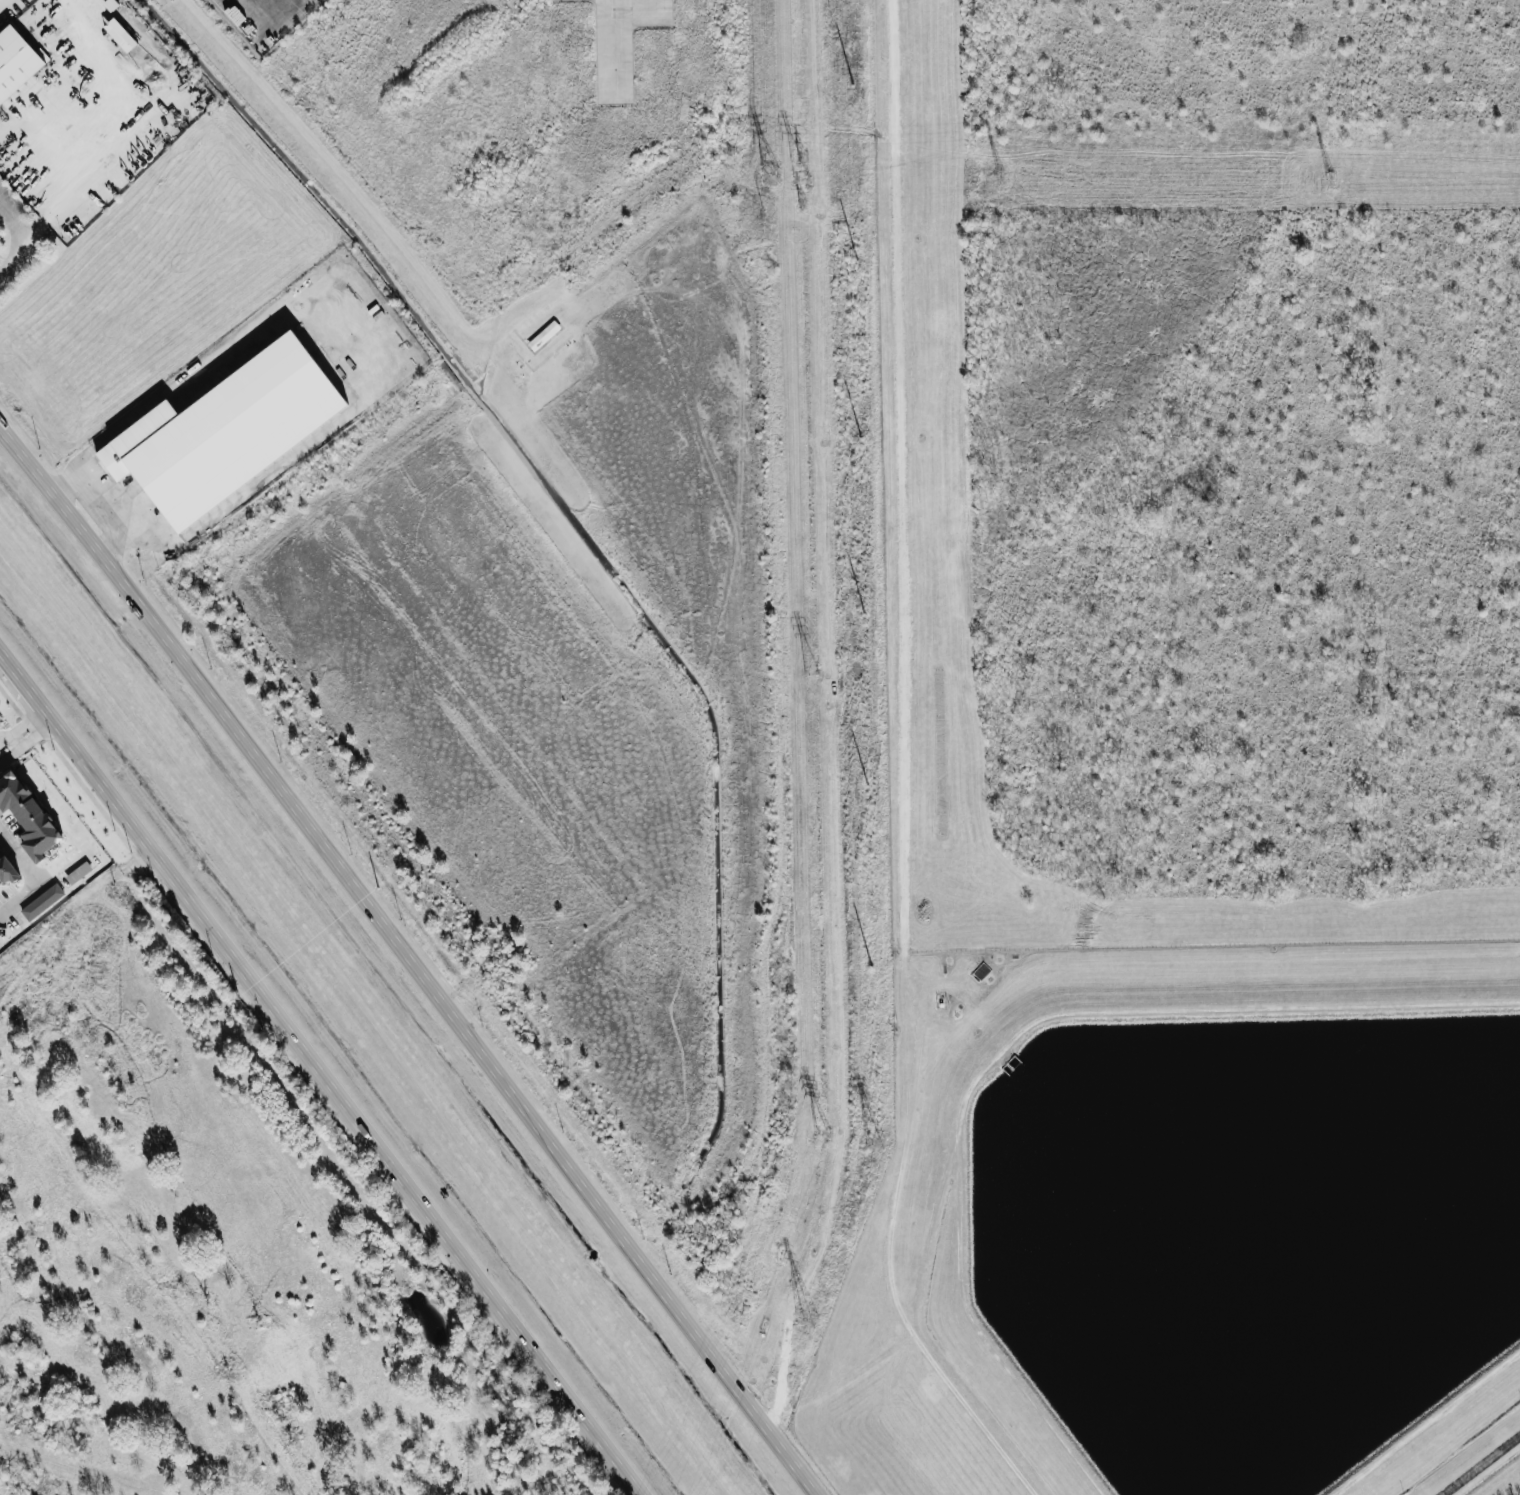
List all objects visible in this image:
road: (245, 2)
building: (119, 34)
road: (111, 45)
road: (606, 45)
building: (16, 62)
power tower: (801, 154)
road: (328, 160)
road: (90, 163)
power tower: (770, 174)
power tower: (801, 176)
power tower: (1332, 179)
power tower: (1001, 180)
power tower: (802, 202)
road: (14, 220)
road: (14, 250)
building: (546, 332)
road: (155, 401)
building: (226, 432)
road: (64, 482)
road: (125, 534)
power tower: (811, 675)
road: (32, 728)
road: (15, 744)
road: (903, 775)
building: (28, 813)
road: (19, 858)
building: (8, 867)
building: (78, 870)
road: (45, 879)
building: (42, 900)
road: (407, 960)
road: (320, 1075)
road: (312, 1089)
power tower: (821, 1131)
power tower: (874, 1141)
power tower: (808, 1316)
road: (1480, 1464)

